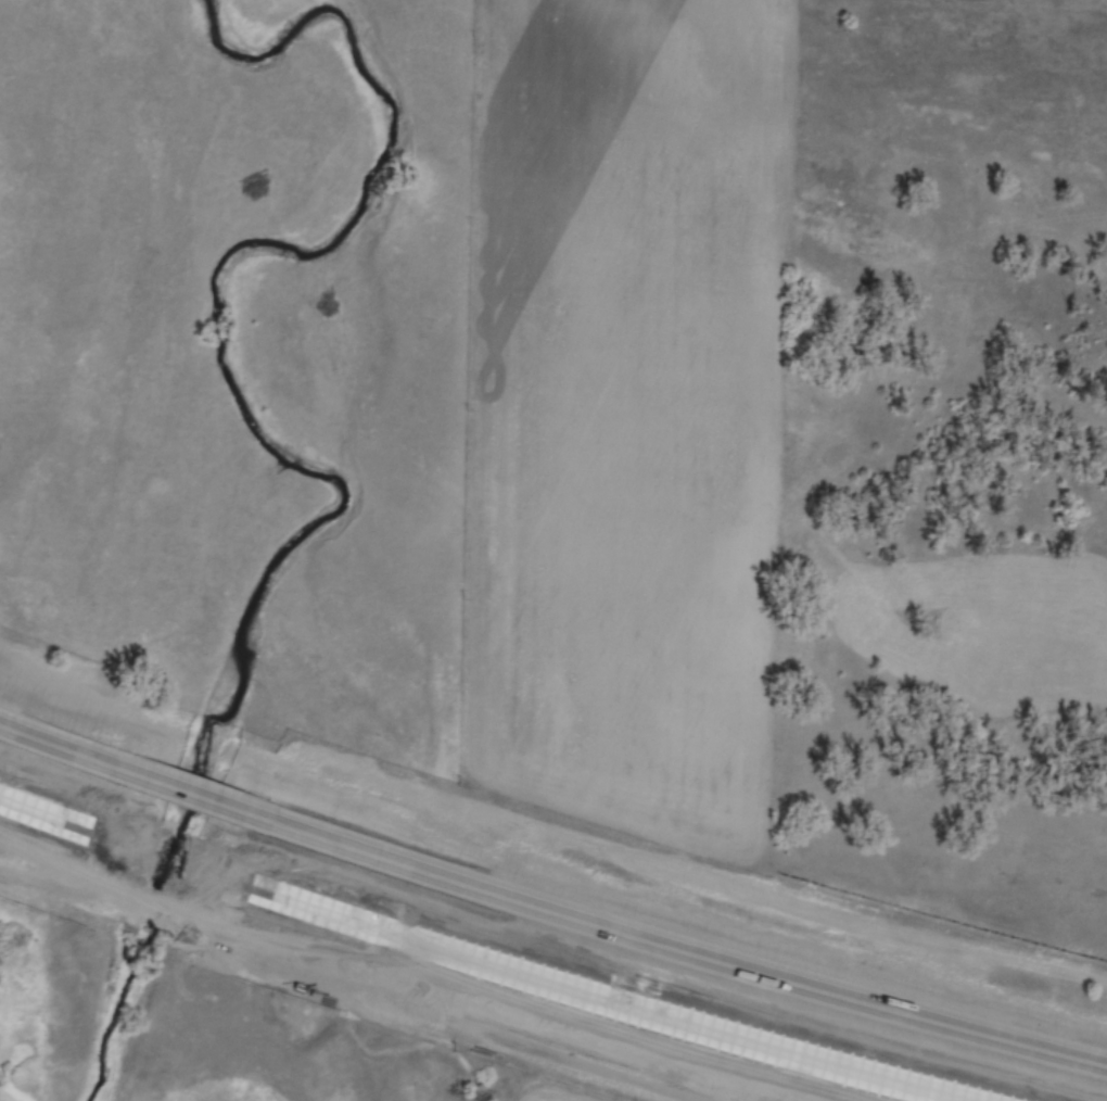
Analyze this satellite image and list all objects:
crop: (613, 409)
road: (73, 754)
road: (192, 796)
road: (61, 818)
road: (170, 857)
road: (670, 948)
road: (598, 995)
crop: (555, 1093)

